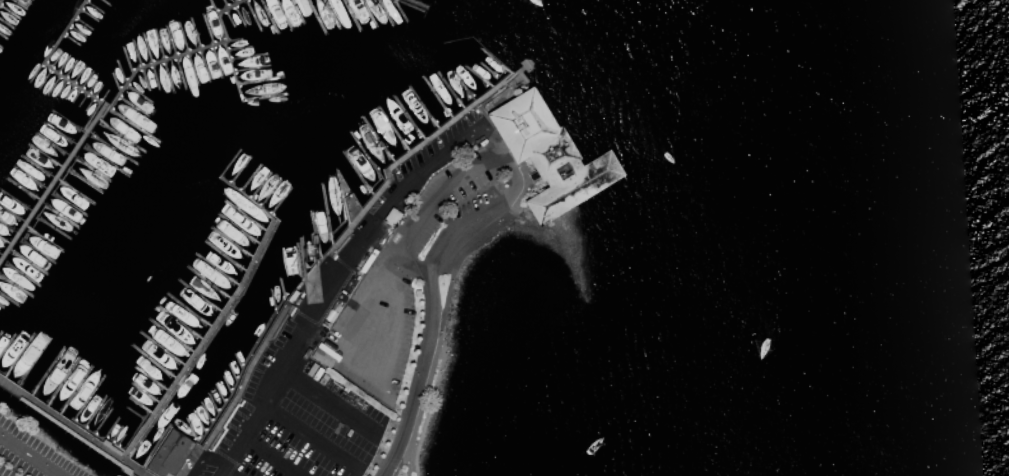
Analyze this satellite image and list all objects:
pier: (415, 2)
pier: (4, 6)
pier: (47, 61)
pier: (105, 104)
building: (552, 156)
pier: (587, 163)
pier: (251, 197)
road: (429, 209)
pier: (323, 254)
road: (341, 272)
parking lot: (400, 283)
road: (430, 295)
road: (445, 308)
pier: (212, 334)
road: (357, 368)
road: (328, 401)
parking lot: (293, 428)
road: (309, 436)
building: (169, 453)
road: (31, 454)
parking lot: (30, 455)
pier: (170, 455)
road: (272, 455)
park: (411, 469)
road: (226, 472)
railway: (3, 473)

